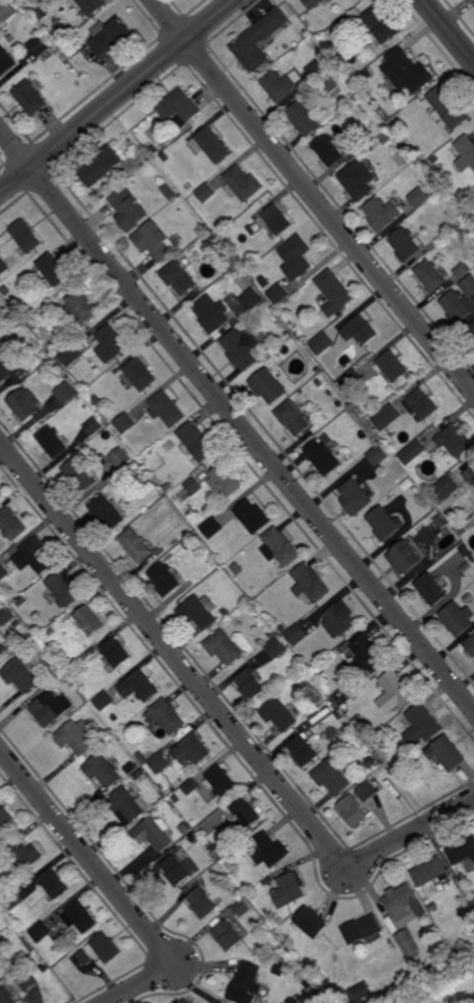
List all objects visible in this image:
building: (315, 3)
building: (91, 6)
building: (8, 11)
building: (42, 15)
building: (57, 21)
building: (347, 21)
building: (382, 26)
road: (448, 30)
building: (111, 37)
building: (260, 41)
building: (40, 47)
building: (6, 61)
building: (317, 71)
building: (408, 72)
building: (364, 75)
building: (331, 85)
building: (282, 86)
building: (33, 98)
road: (117, 98)
building: (358, 98)
building: (182, 110)
building: (449, 110)
building: (305, 120)
building: (386, 139)
building: (212, 146)
building: (372, 148)
building: (327, 150)
building: (155, 151)
building: (465, 152)
building: (167, 158)
building: (436, 160)
building: (143, 162)
building: (152, 163)
building: (429, 165)
building: (105, 167)
building: (358, 178)
building: (243, 183)
building: (206, 192)
road: (313, 195)
building: (420, 197)
building: (435, 205)
building: (131, 209)
building: (383, 213)
building: (275, 218)
building: (203, 227)
building: (27, 235)
building: (211, 235)
building: (157, 240)
building: (227, 240)
building: (407, 243)
building: (296, 256)
building: (4, 265)
building: (53, 269)
building: (463, 269)
building: (238, 271)
building: (432, 274)
building: (180, 276)
building: (469, 285)
building: (335, 292)
building: (279, 293)
building: (252, 299)
building: (83, 305)
building: (458, 306)
building: (212, 313)
building: (360, 330)
building: (470, 332)
building: (288, 335)
building: (112, 343)
building: (322, 343)
building: (242, 347)
building: (46, 353)
building: (71, 354)
building: (1, 358)
building: (392, 365)
building: (318, 370)
building: (5, 371)
building: (139, 374)
building: (351, 380)
building: (269, 385)
building: (67, 390)
building: (25, 403)
building: (422, 403)
building: (87, 405)
building: (167, 409)
road: (237, 417)
building: (296, 417)
building: (387, 417)
building: (126, 423)
building: (94, 426)
building: (53, 441)
building: (197, 443)
building: (438, 444)
building: (90, 454)
building: (378, 455)
building: (324, 457)
building: (348, 457)
building: (122, 458)
building: (81, 473)
building: (470, 474)
building: (226, 479)
building: (409, 483)
building: (194, 485)
building: (169, 487)
building: (444, 489)
building: (0, 496)
building: (358, 496)
building: (109, 512)
building: (451, 515)
building: (253, 516)
building: (424, 522)
building: (386, 523)
building: (11, 524)
building: (212, 527)
building: (462, 530)
building: (191, 542)
building: (137, 546)
building: (280, 547)
building: (465, 549)
building: (35, 556)
building: (408, 556)
building: (238, 569)
building: (4, 572)
building: (166, 579)
building: (311, 584)
building: (66, 589)
building: (433, 589)
building: (466, 600)
building: (22, 601)
building: (197, 613)
building: (226, 613)
building: (7, 616)
building: (459, 618)
building: (91, 620)
building: (339, 621)
building: (272, 633)
building: (297, 634)
building: (4, 645)
building: (471, 645)
building: (224, 647)
building: (276, 648)
building: (94, 650)
road: (172, 653)
building: (118, 654)
building: (86, 655)
building: (368, 656)
building: (61, 659)
building: (24, 675)
building: (251, 685)
building: (140, 686)
building: (349, 690)
building: (396, 692)
building: (104, 700)
building: (53, 708)
building: (311, 713)
building: (279, 714)
building: (167, 717)
building: (423, 726)
building: (77, 737)
building: (354, 746)
building: (190, 752)
building: (304, 752)
building: (449, 754)
building: (142, 757)
building: (159, 763)
building: (371, 763)
building: (131, 770)
building: (104, 771)
building: (140, 774)
building: (332, 777)
building: (221, 782)
building: (191, 787)
building: (169, 789)
building: (367, 791)
building: (176, 799)
building: (128, 806)
building: (353, 811)
building: (247, 813)
building: (5, 818)
building: (182, 819)
building: (186, 828)
road: (411, 833)
building: (154, 834)
building: (194, 838)
building: (214, 847)
building: (462, 850)
building: (268, 851)
building: (23, 853)
building: (208, 853)
road: (85, 856)
building: (179, 868)
building: (432, 872)
building: (54, 884)
building: (441, 886)
building: (288, 889)
building: (14, 898)
building: (401, 899)
building: (203, 901)
building: (433, 906)
building: (242, 907)
building: (80, 916)
building: (311, 921)
building: (275, 924)
building: (363, 928)
building: (40, 930)
building: (228, 934)
building: (409, 942)
building: (102, 950)
building: (44, 967)
building: (316, 970)
building: (279, 971)
building: (322, 978)
building: (25, 980)
building: (248, 983)
road: (140, 985)
building: (319, 992)
building: (360, 992)
building: (9, 996)
building: (222, 1002)

